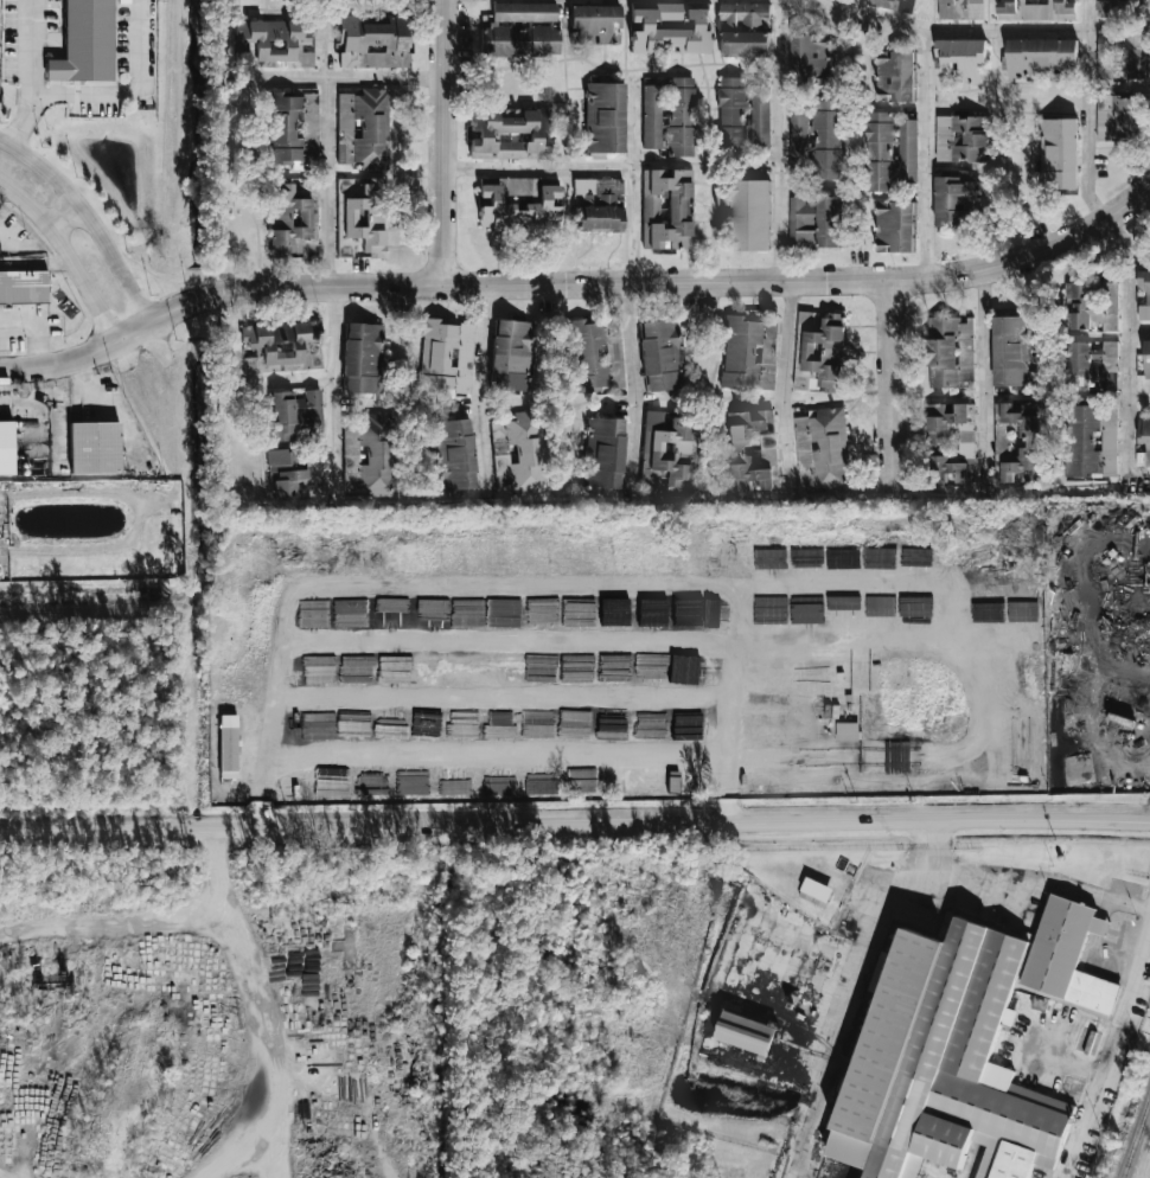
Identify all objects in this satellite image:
building: (893, 5)
building: (1117, 7)
building: (961, 9)
building: (1036, 9)
building: (595, 24)
building: (745, 28)
building: (522, 30)
building: (670, 30)
road: (940, 30)
building: (1135, 39)
building: (279, 40)
building: (85, 43)
building: (373, 43)
road: (31, 44)
building: (1109, 53)
building: (810, 56)
building: (1042, 58)
building: (960, 60)
road: (349, 75)
building: (896, 77)
road: (127, 90)
road: (1086, 111)
building: (743, 114)
road: (27, 115)
building: (652, 116)
building: (681, 116)
building: (605, 117)
building: (1119, 117)
building: (363, 128)
building: (290, 129)
building: (510, 133)
building: (797, 134)
building: (963, 139)
road: (779, 140)
building: (826, 140)
road: (441, 141)
building: (879, 151)
building: (907, 152)
road: (926, 153)
building: (1059, 153)
road: (537, 167)
road: (633, 179)
building: (954, 199)
building: (599, 204)
building: (497, 205)
building: (666, 209)
road: (90, 212)
building: (750, 215)
road: (68, 217)
building: (360, 217)
building: (292, 222)
building: (814, 222)
building: (895, 226)
road: (69, 252)
road: (1026, 255)
road: (497, 282)
building: (24, 289)
road: (333, 289)
building: (1148, 297)
building: (1092, 306)
road: (34, 328)
road: (1138, 331)
building: (282, 346)
building: (950, 351)
building: (1011, 351)
building: (740, 352)
building: (819, 352)
building: (767, 353)
building: (511, 354)
road: (1126, 354)
building: (596, 356)
building: (660, 356)
building: (363, 358)
building: (446, 358)
building: (1093, 358)
building: (1146, 359)
road: (60, 360)
road: (985, 378)
building: (1110, 380)
road: (293, 382)
road: (888, 385)
road: (481, 386)
road: (634, 386)
road: (782, 386)
road: (108, 411)
building: (293, 412)
building: (938, 430)
building: (1022, 441)
building: (1091, 442)
building: (1143, 442)
building: (7, 448)
building: (94, 448)
building: (747, 449)
building: (823, 449)
building: (666, 450)
building: (518, 453)
building: (603, 453)
building: (369, 455)
building: (454, 455)
building: (946, 469)
building: (283, 475)
building: (769, 558)
building: (652, 607)
building: (688, 613)
building: (684, 668)
building: (229, 745)
building: (836, 750)
road: (575, 824)
road: (211, 869)
building: (816, 892)
road: (1141, 908)
road: (1149, 908)
road: (107, 926)
building: (1068, 956)
building: (747, 1033)
road: (275, 1049)
railway: (932, 1054)
railway: (890, 1062)
building: (945, 1064)
railway: (1137, 1142)
road: (0, 1177)

